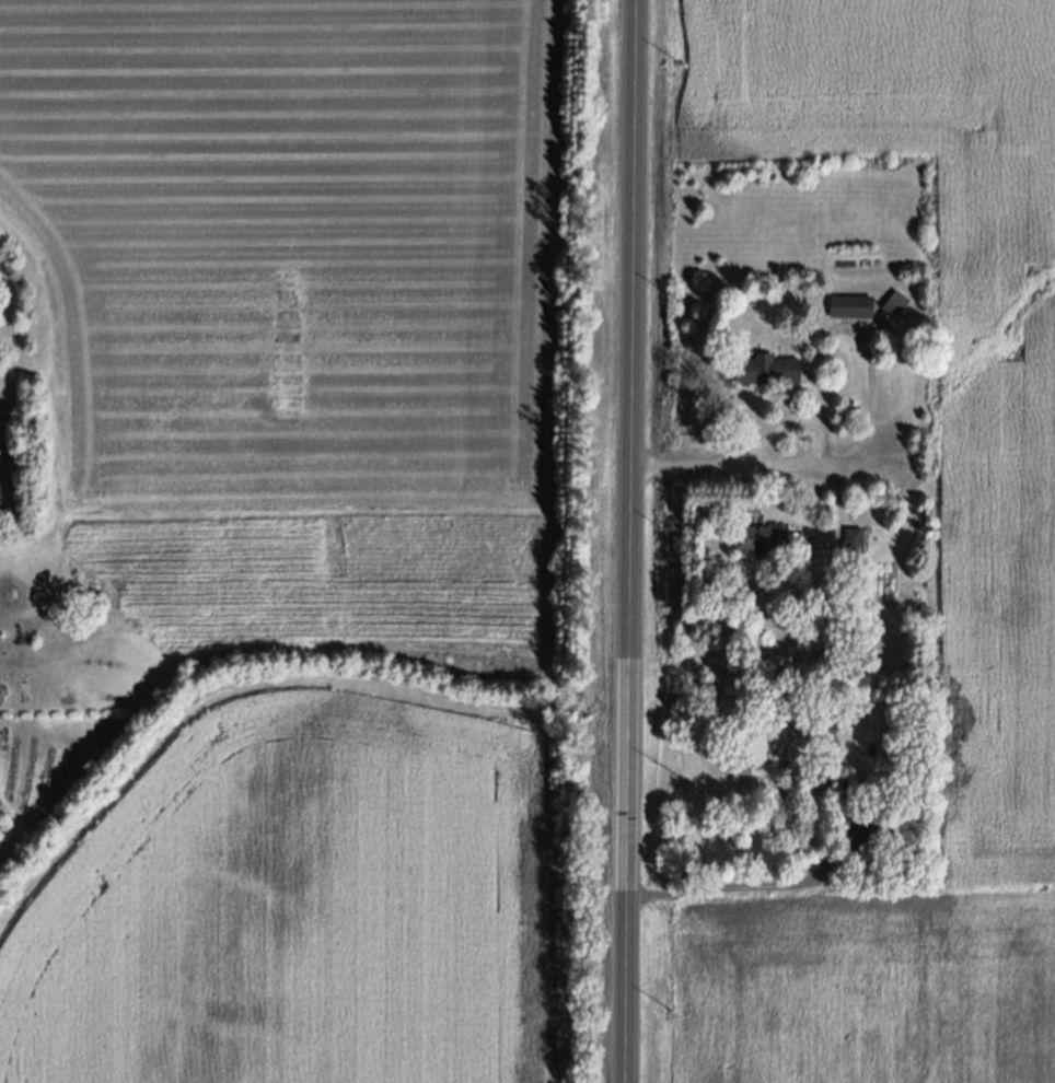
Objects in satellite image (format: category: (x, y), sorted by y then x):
building: (895, 303)
building: (850, 305)
building: (767, 369)
road: (756, 458)
building: (757, 536)
building: (853, 539)
road: (627, 540)
building: (758, 745)
building: (863, 842)
road: (802, 877)

